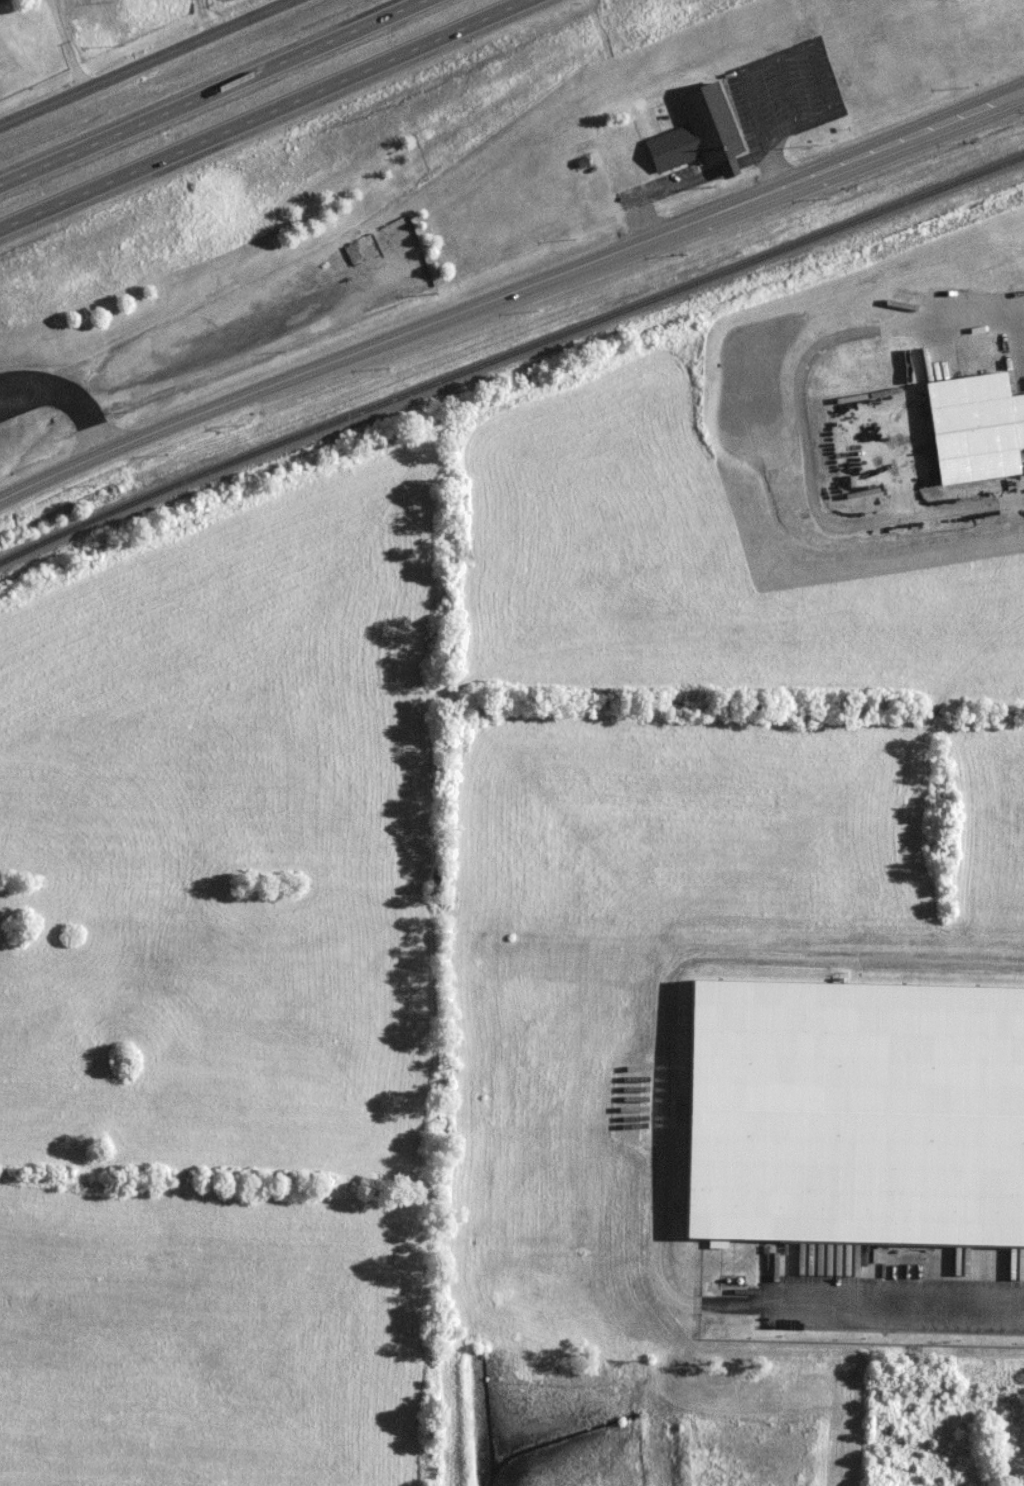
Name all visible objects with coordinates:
building: (1, 0)
road: (202, 18)
road: (813, 43)
road: (65, 45)
road: (149, 61)
road: (795, 90)
road: (224, 97)
road: (273, 118)
building: (710, 131)
road: (709, 175)
road: (510, 295)
road: (1017, 303)
road: (254, 350)
railway: (509, 354)
road: (72, 390)
road: (802, 433)
crop: (241, 693)
road: (679, 967)
crop: (221, 1028)
building: (863, 1112)
road: (864, 1308)

